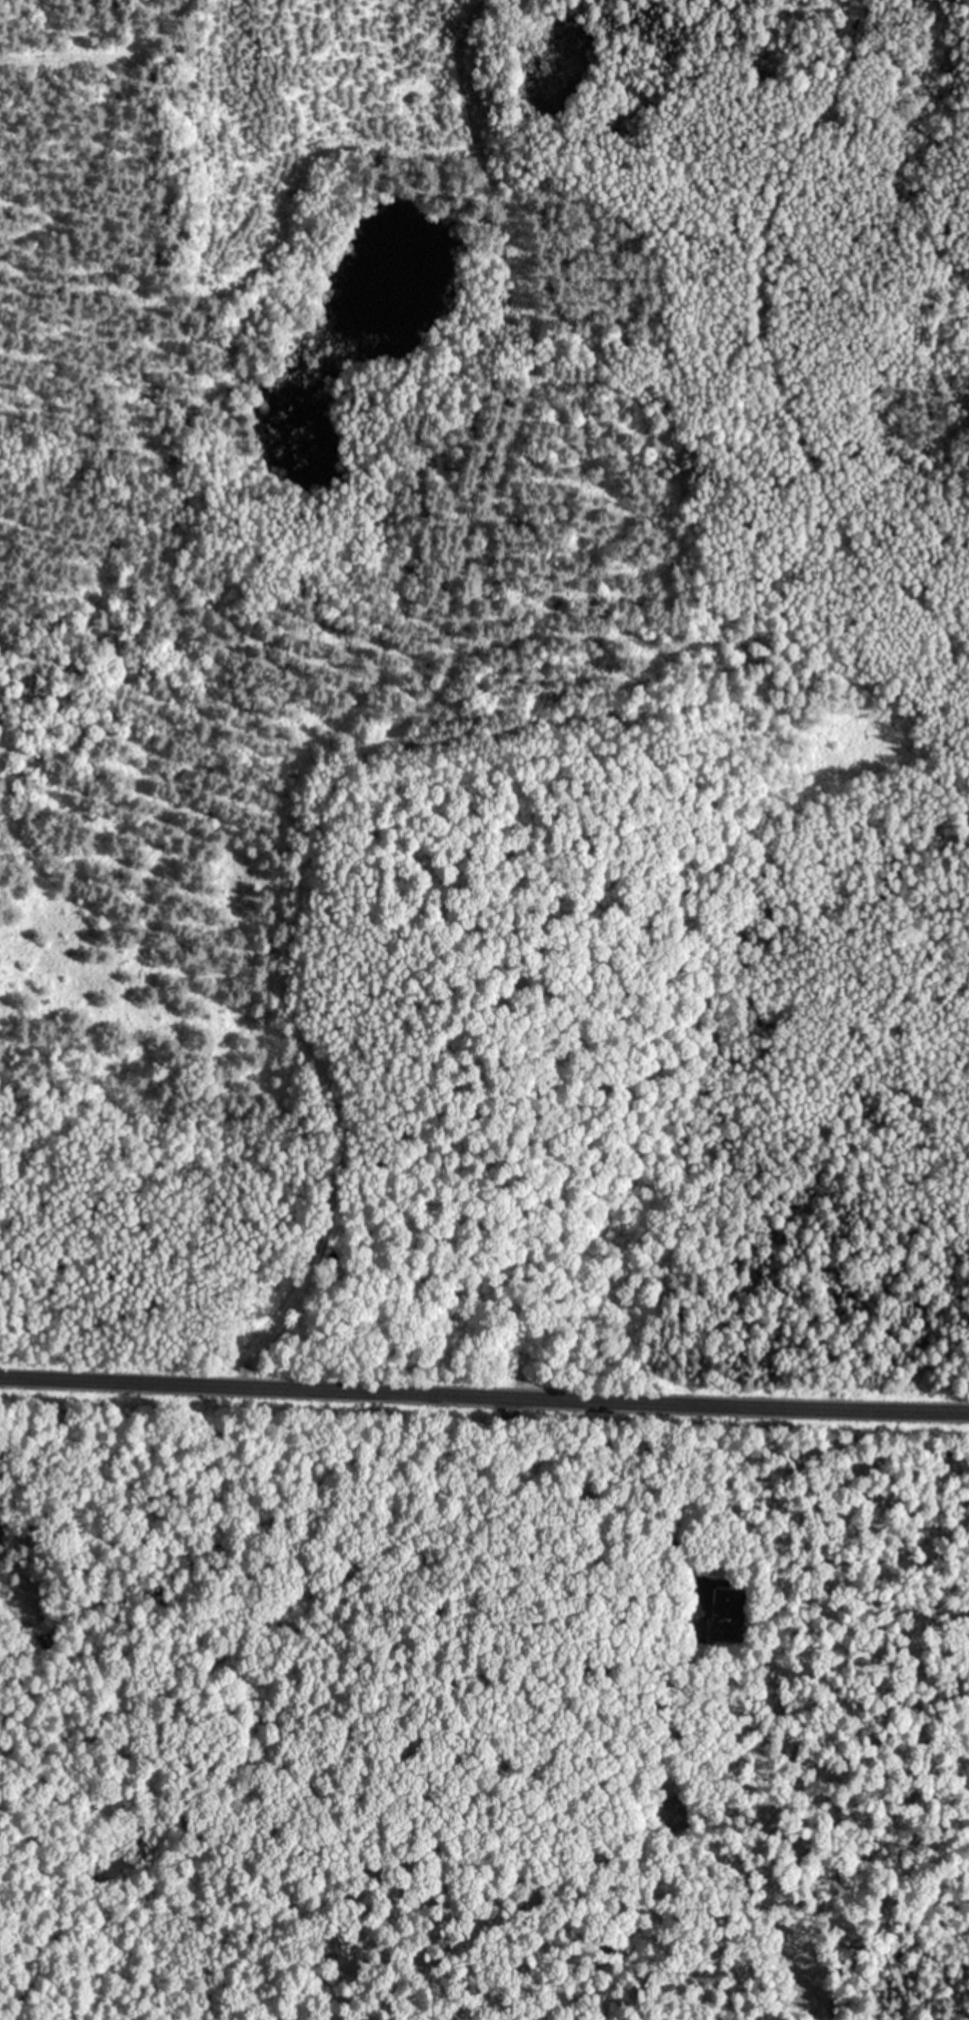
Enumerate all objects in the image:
road: (100, 51)
road: (409, 723)
road: (484, 1395)
building: (672, 1812)

